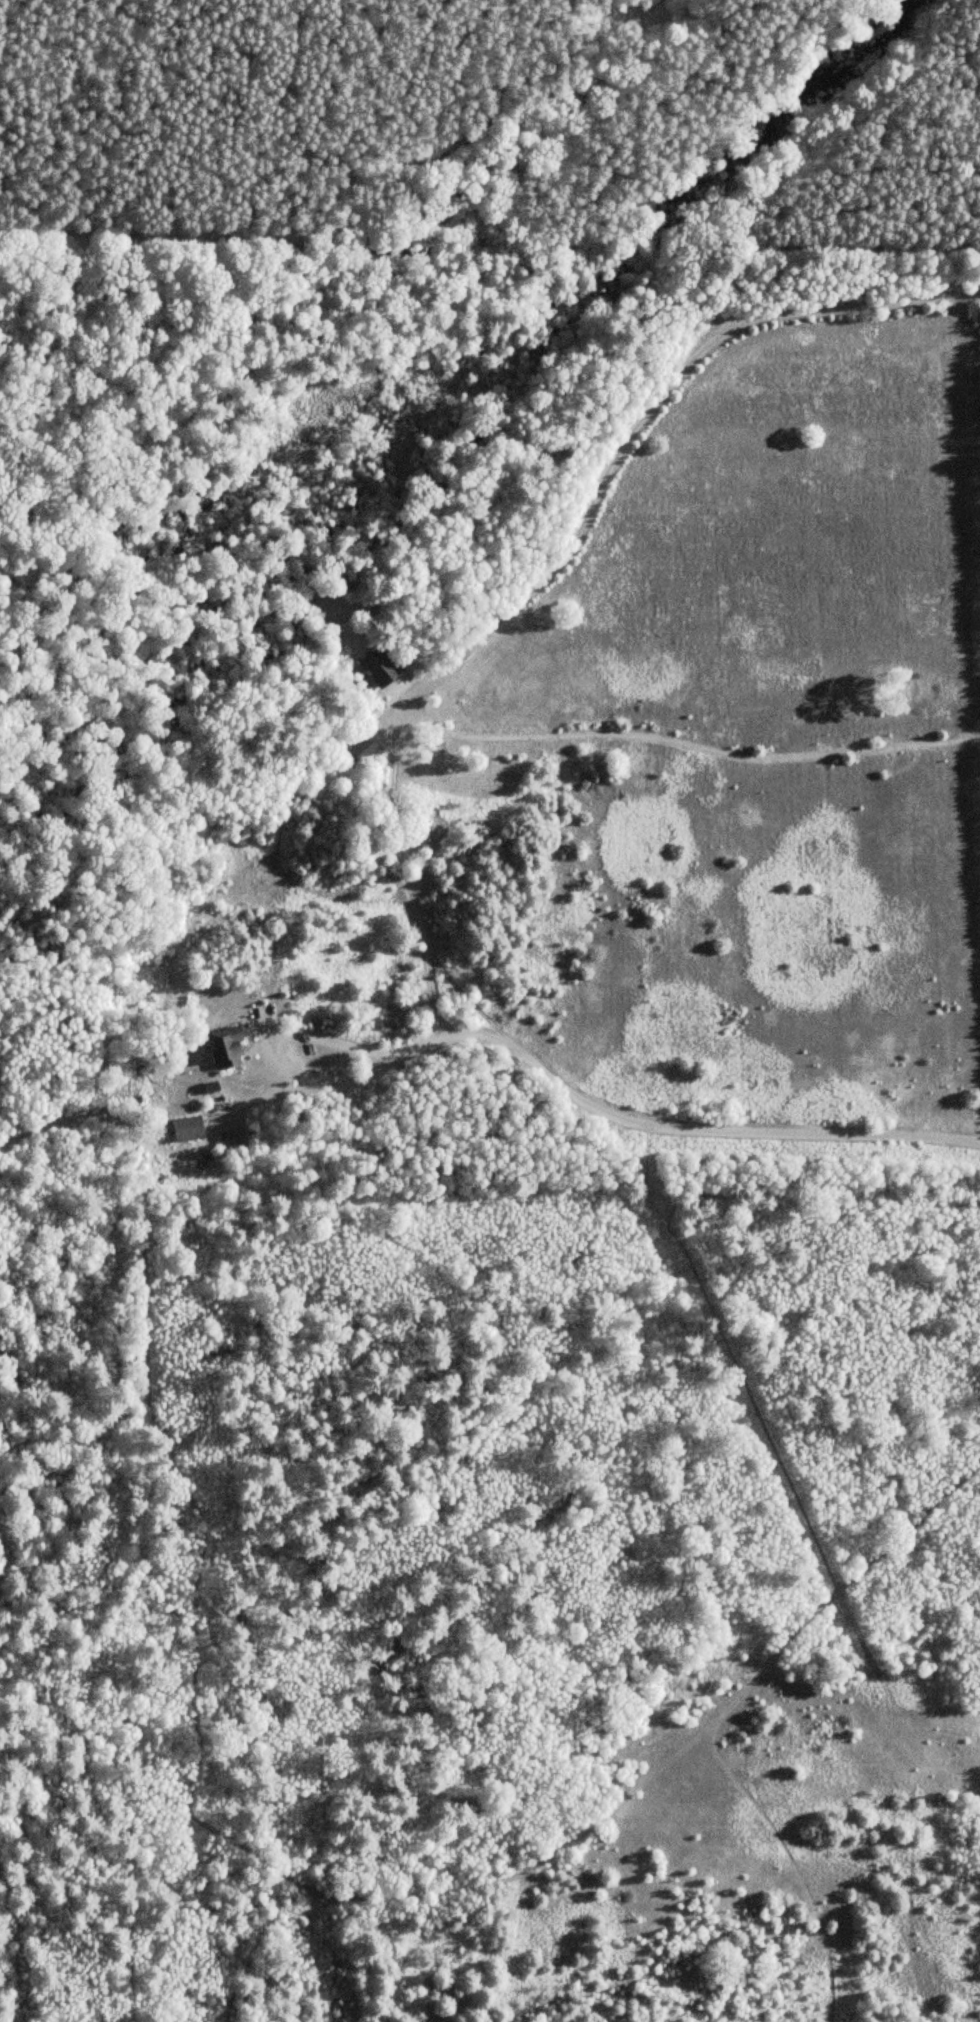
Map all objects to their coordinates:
road: (488, 123)
road: (489, 249)
road: (644, 414)
building: (376, 667)
building: (360, 750)
building: (226, 1049)
road: (272, 1050)
road: (675, 1124)
building: (186, 1128)

